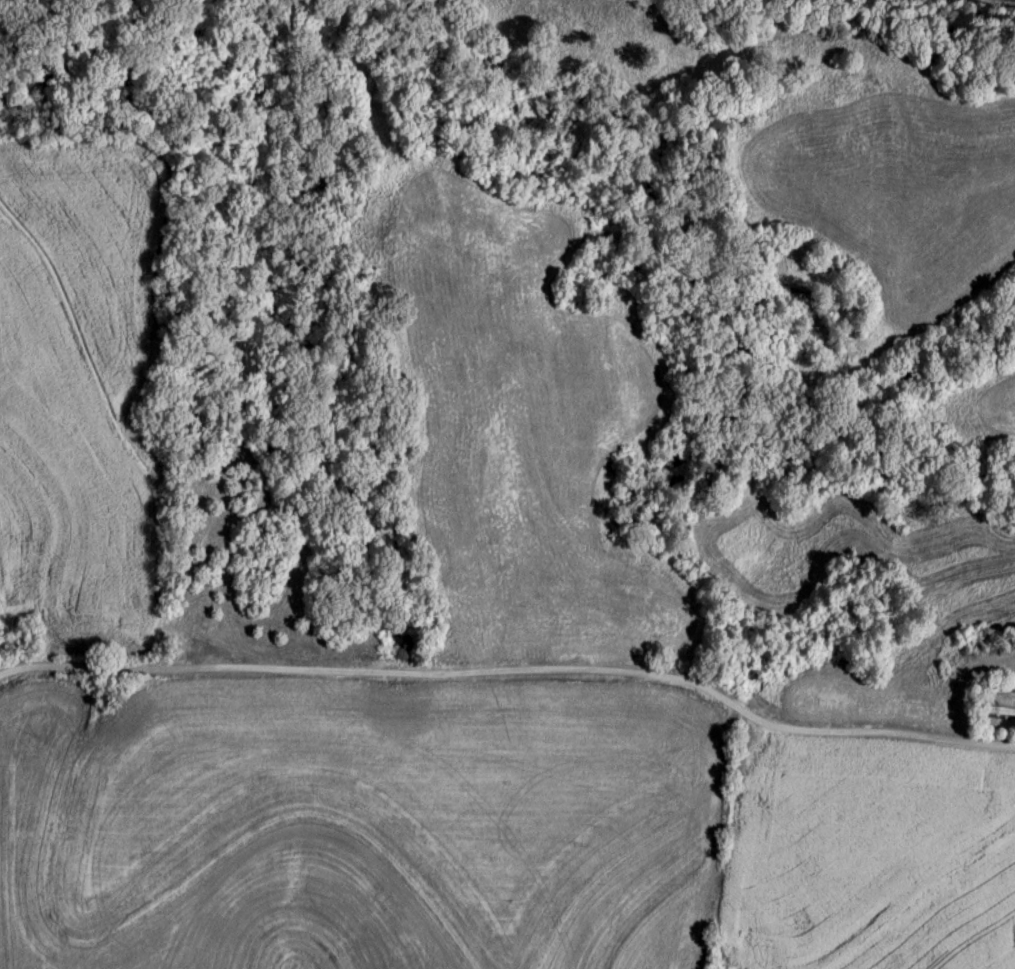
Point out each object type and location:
road: (513, 668)

